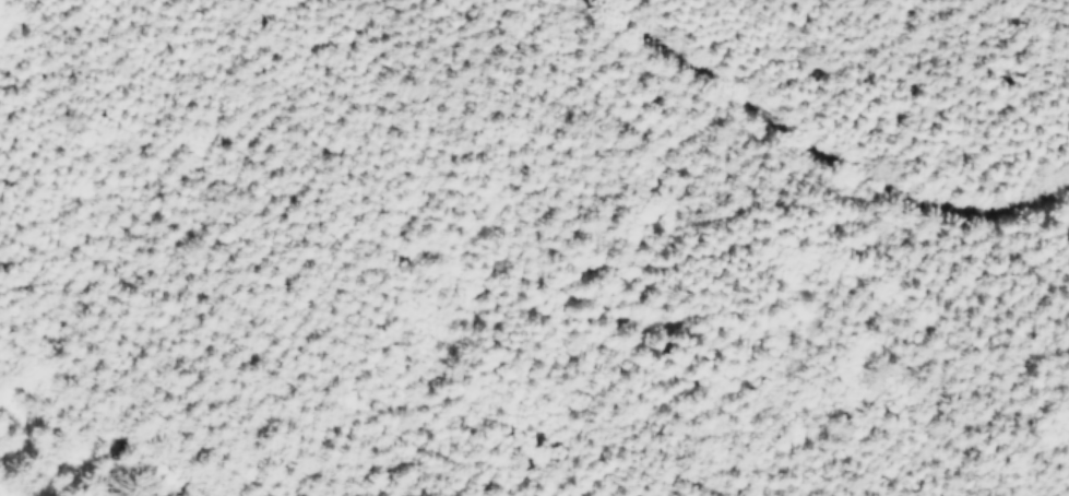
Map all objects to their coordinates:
road: (813, 153)

